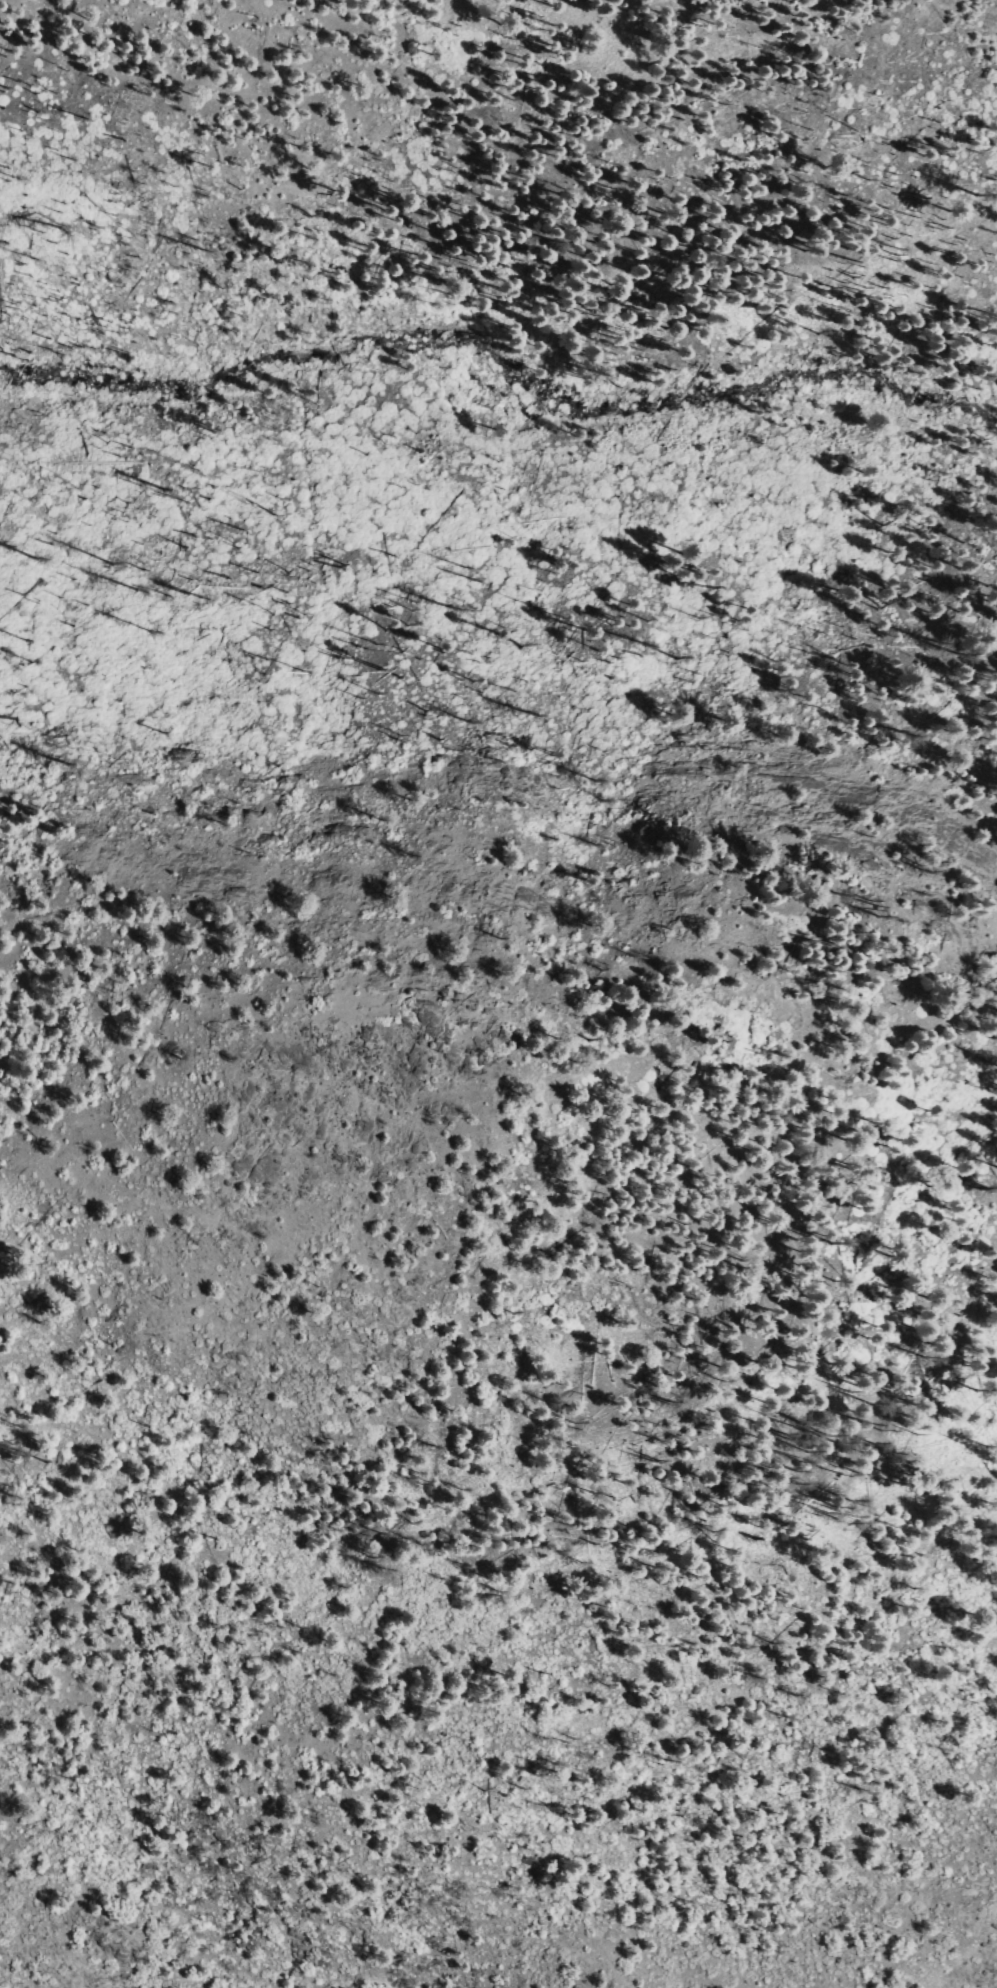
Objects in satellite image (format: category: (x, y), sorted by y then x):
road: (424, 105)

